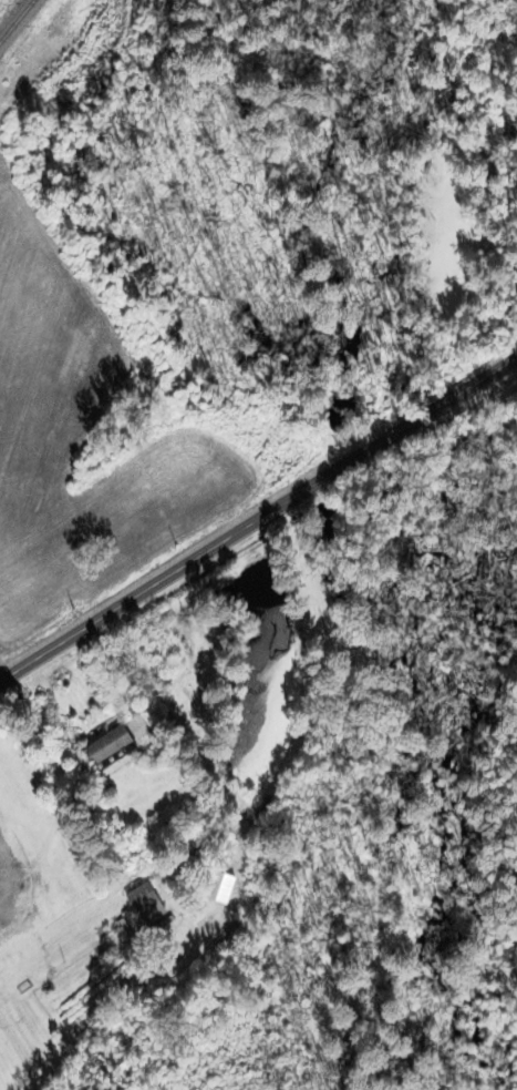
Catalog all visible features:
railway: (8, 11)
building: (82, 468)
road: (258, 517)
building: (102, 747)
building: (138, 904)

